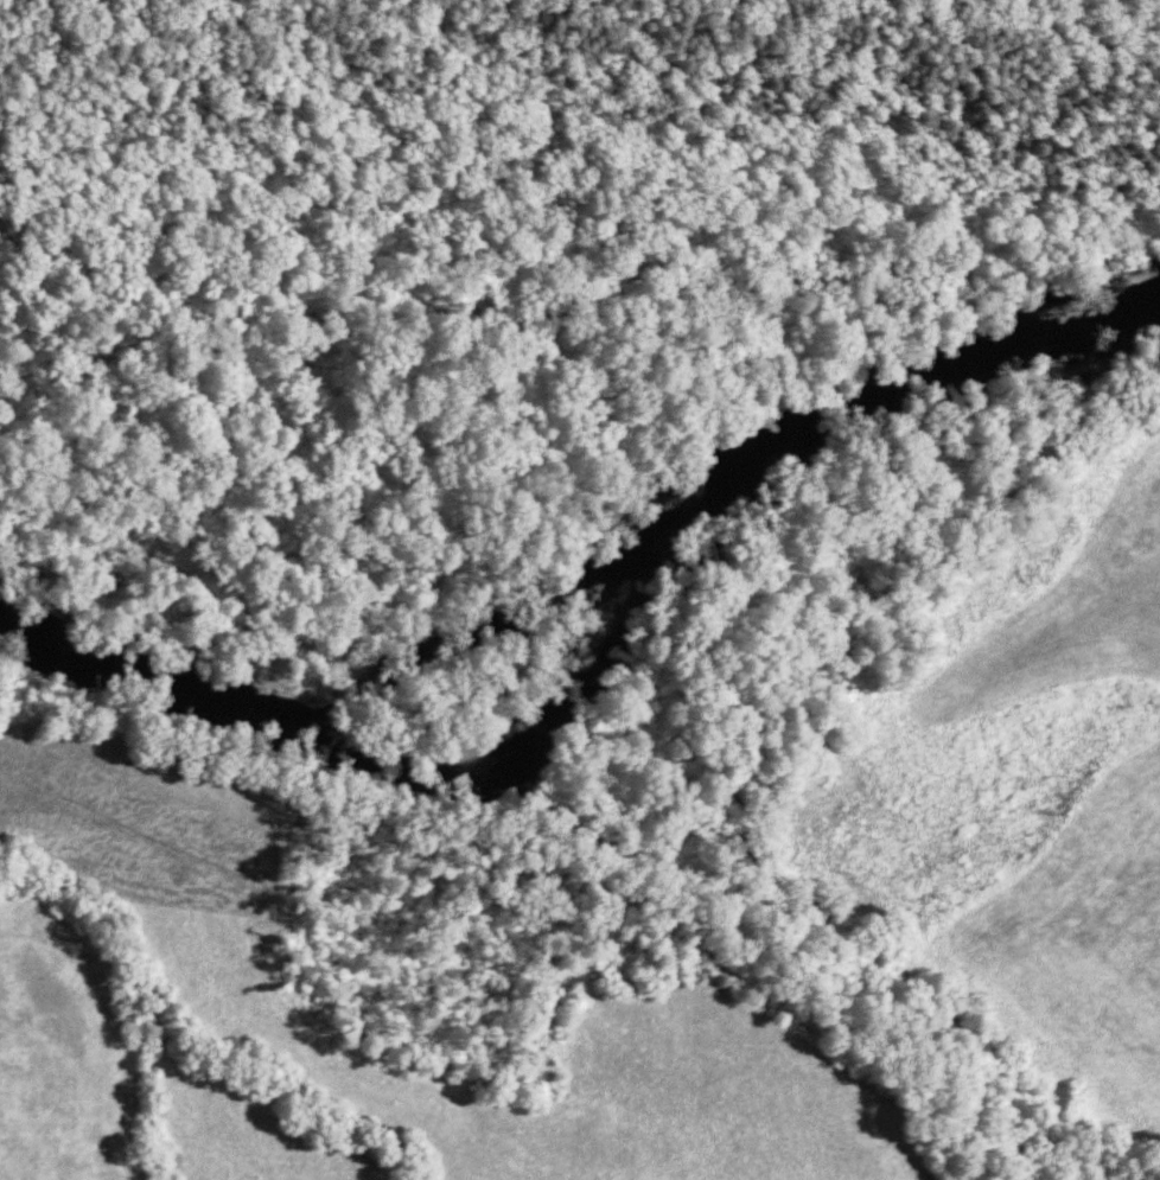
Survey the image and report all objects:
river: (484, 632)
river: (604, 668)

